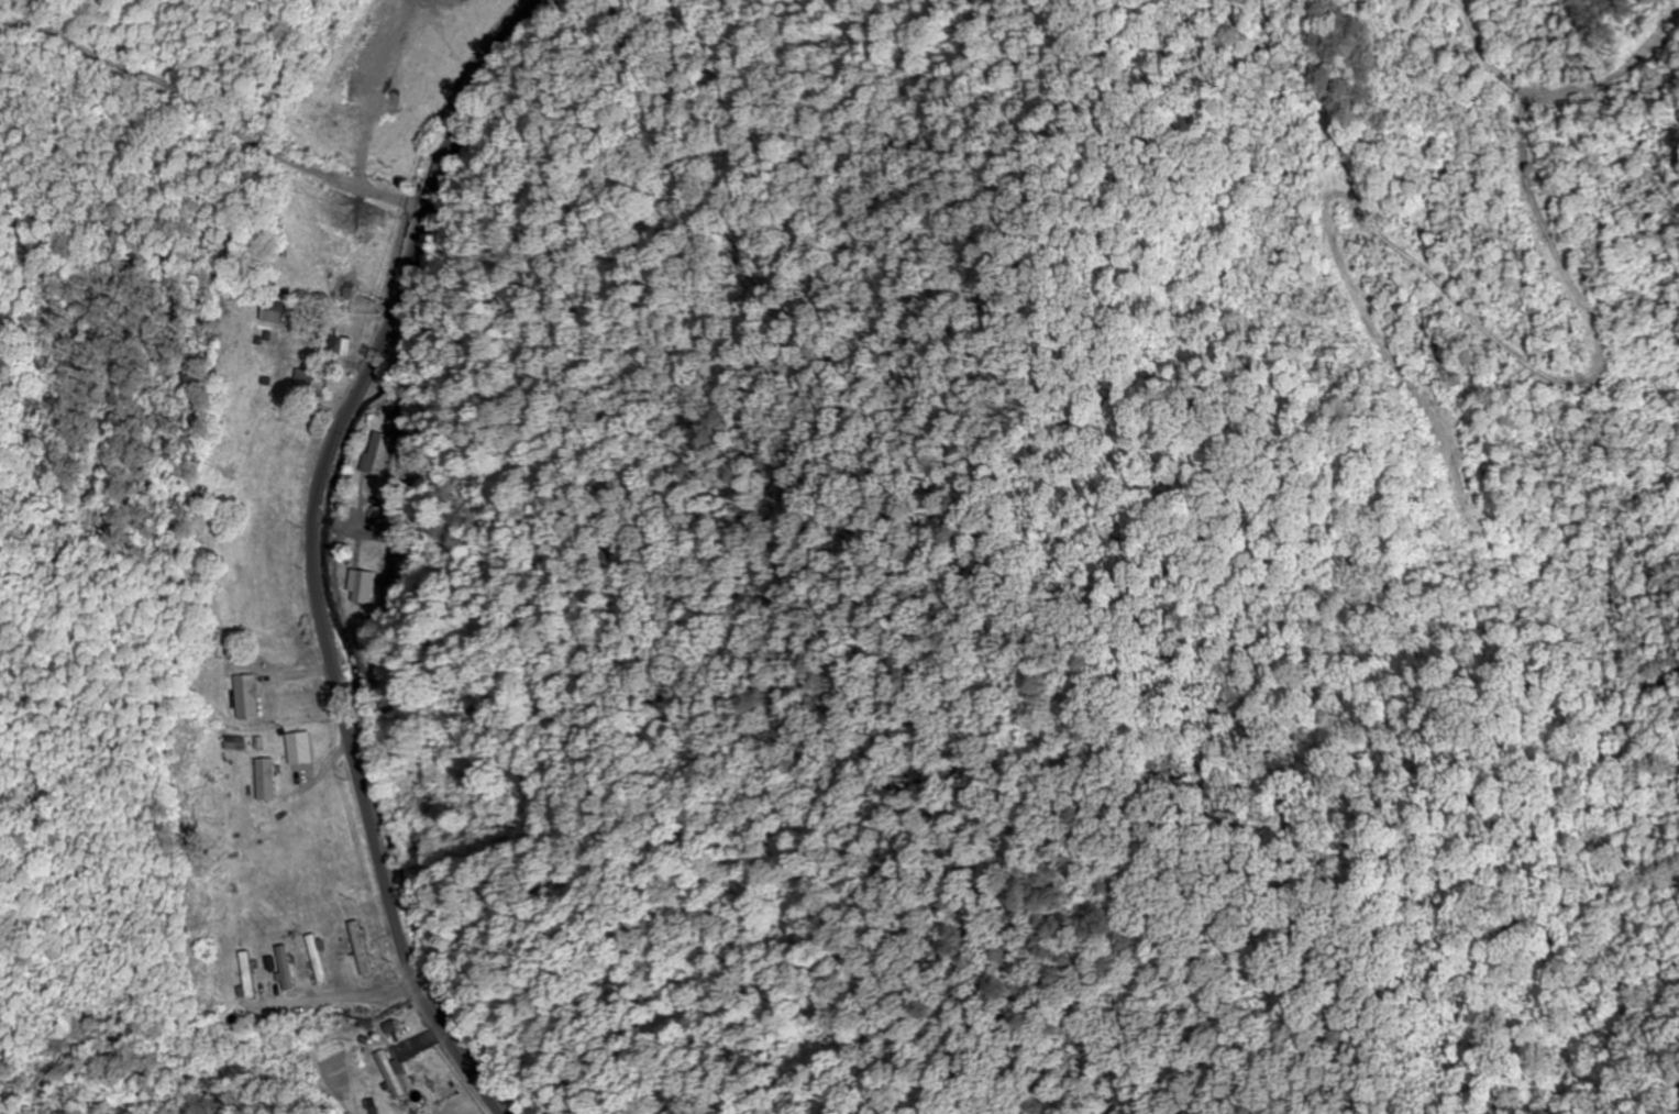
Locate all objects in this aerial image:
road: (221, 122)
building: (270, 311)
building: (342, 345)
building: (379, 453)
road: (312, 549)
building: (362, 586)
building: (246, 695)
building: (233, 742)
building: (265, 777)
building: (361, 947)
building: (317, 958)
building: (285, 967)
building: (389, 1072)

